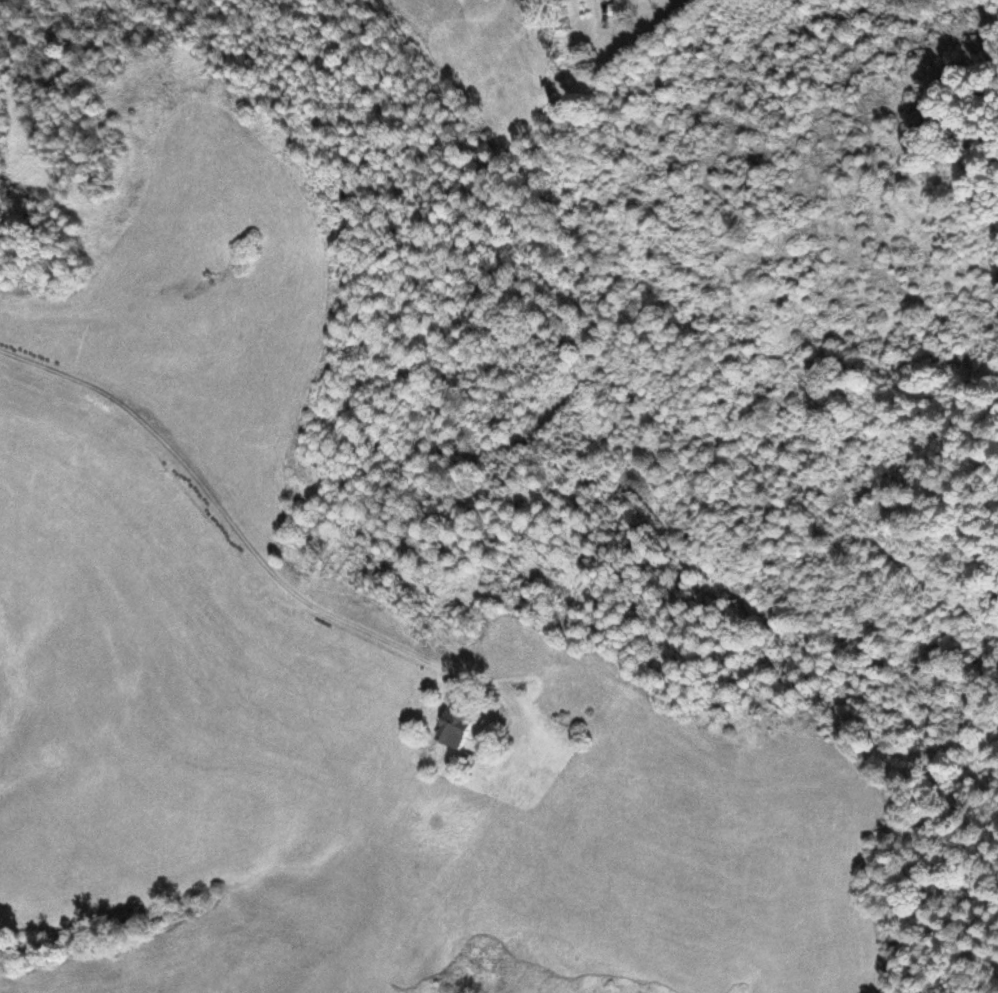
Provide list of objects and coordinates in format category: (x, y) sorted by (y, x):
road: (212, 521)
building: (454, 728)

